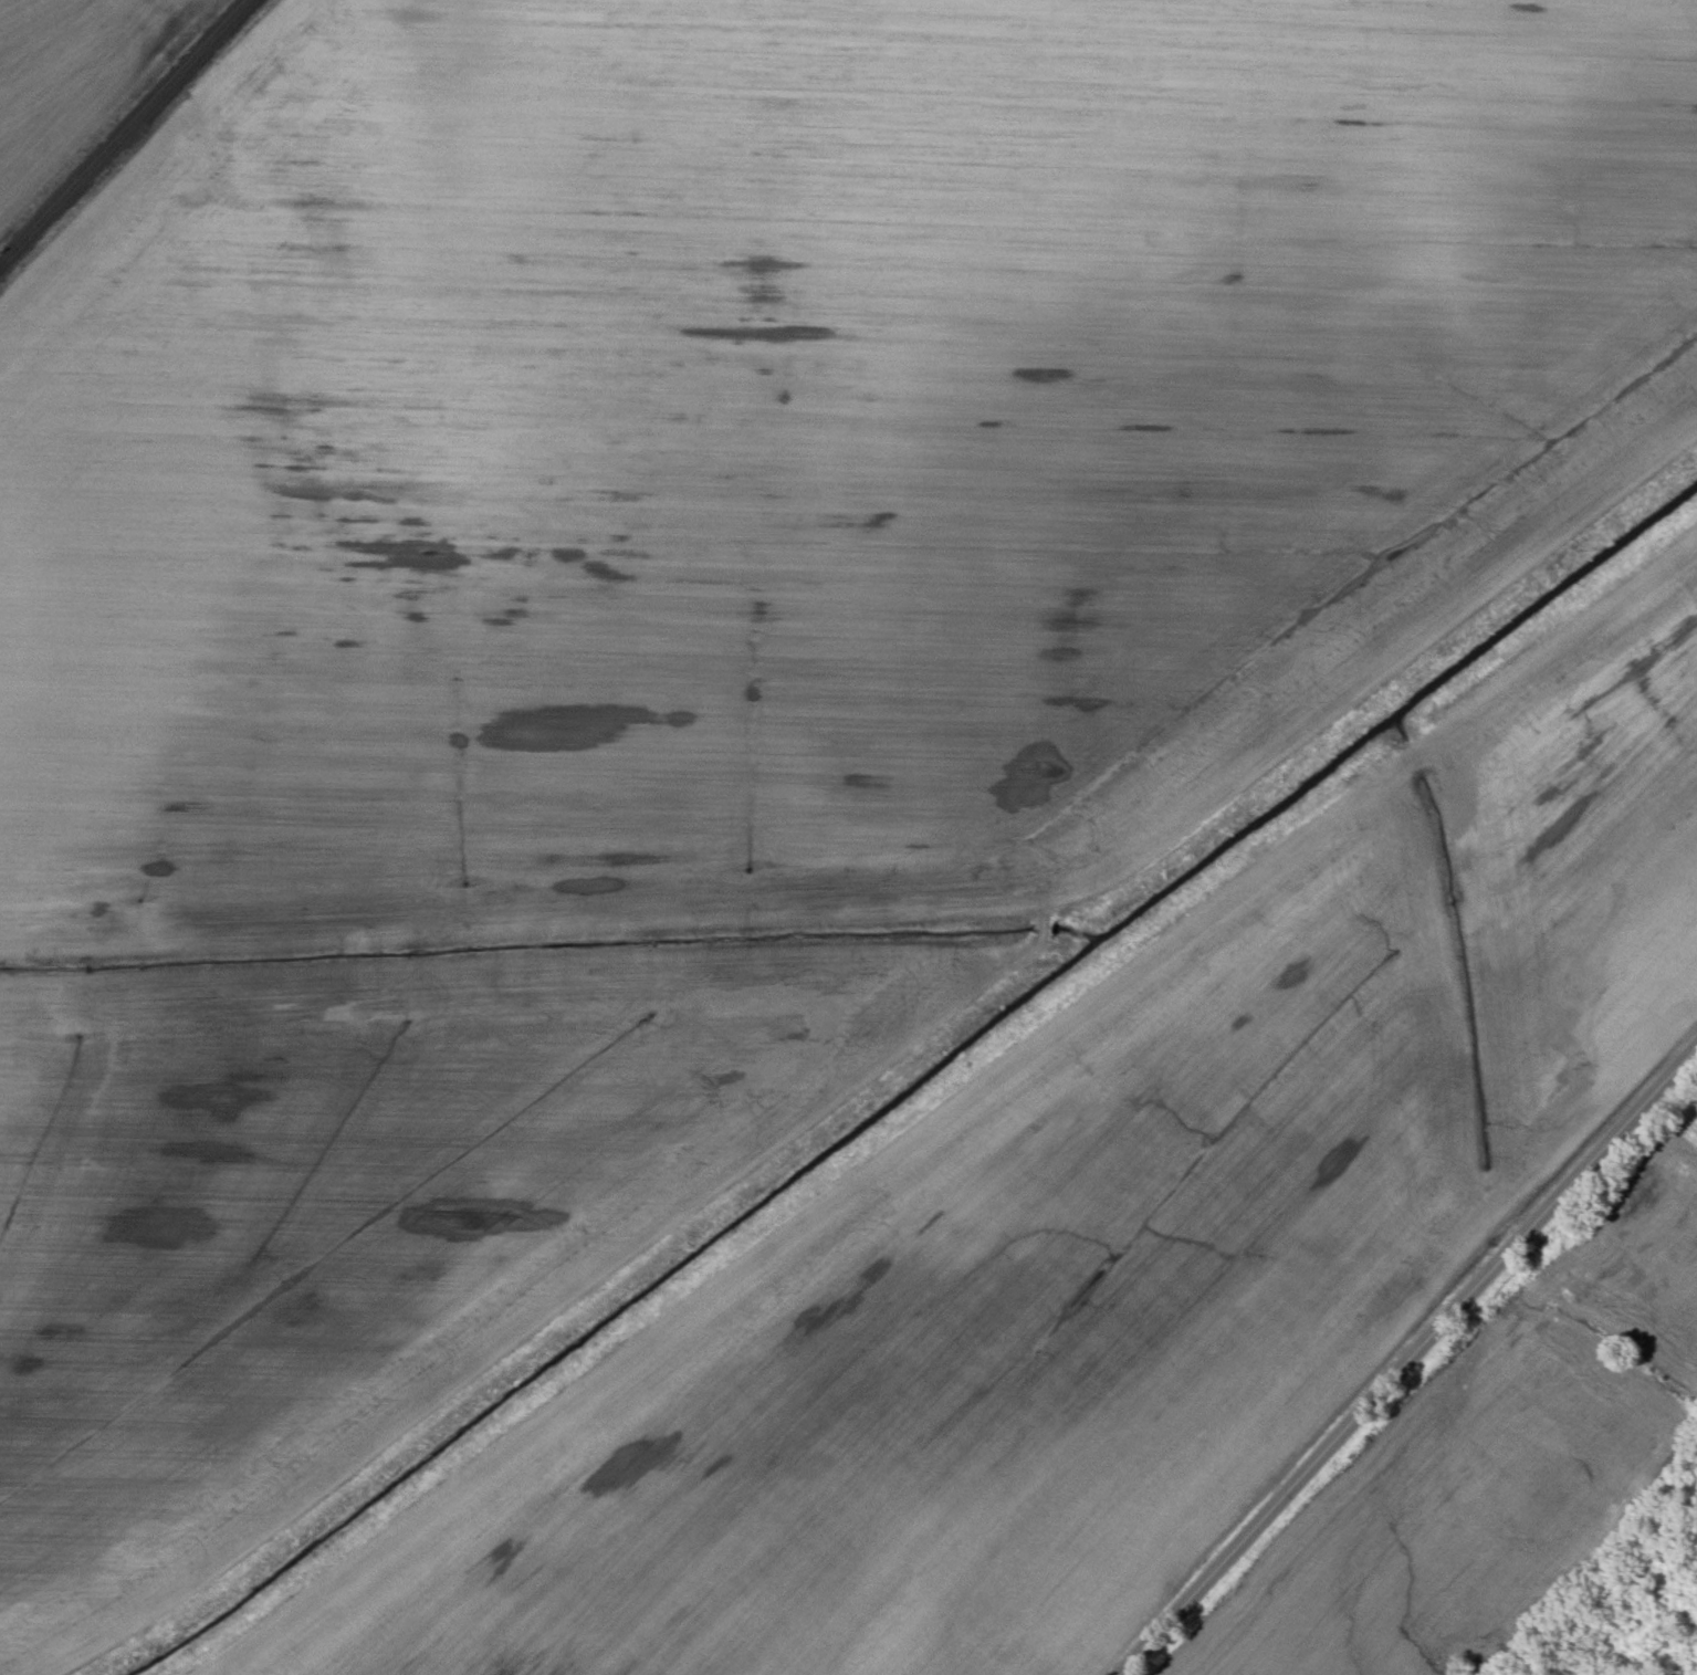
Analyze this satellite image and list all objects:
crop: (70, 76)
railway: (117, 126)
crop: (695, 624)
road: (1674, 1108)
crop: (1102, 1247)
road: (1402, 1355)
crop: (1483, 1474)

